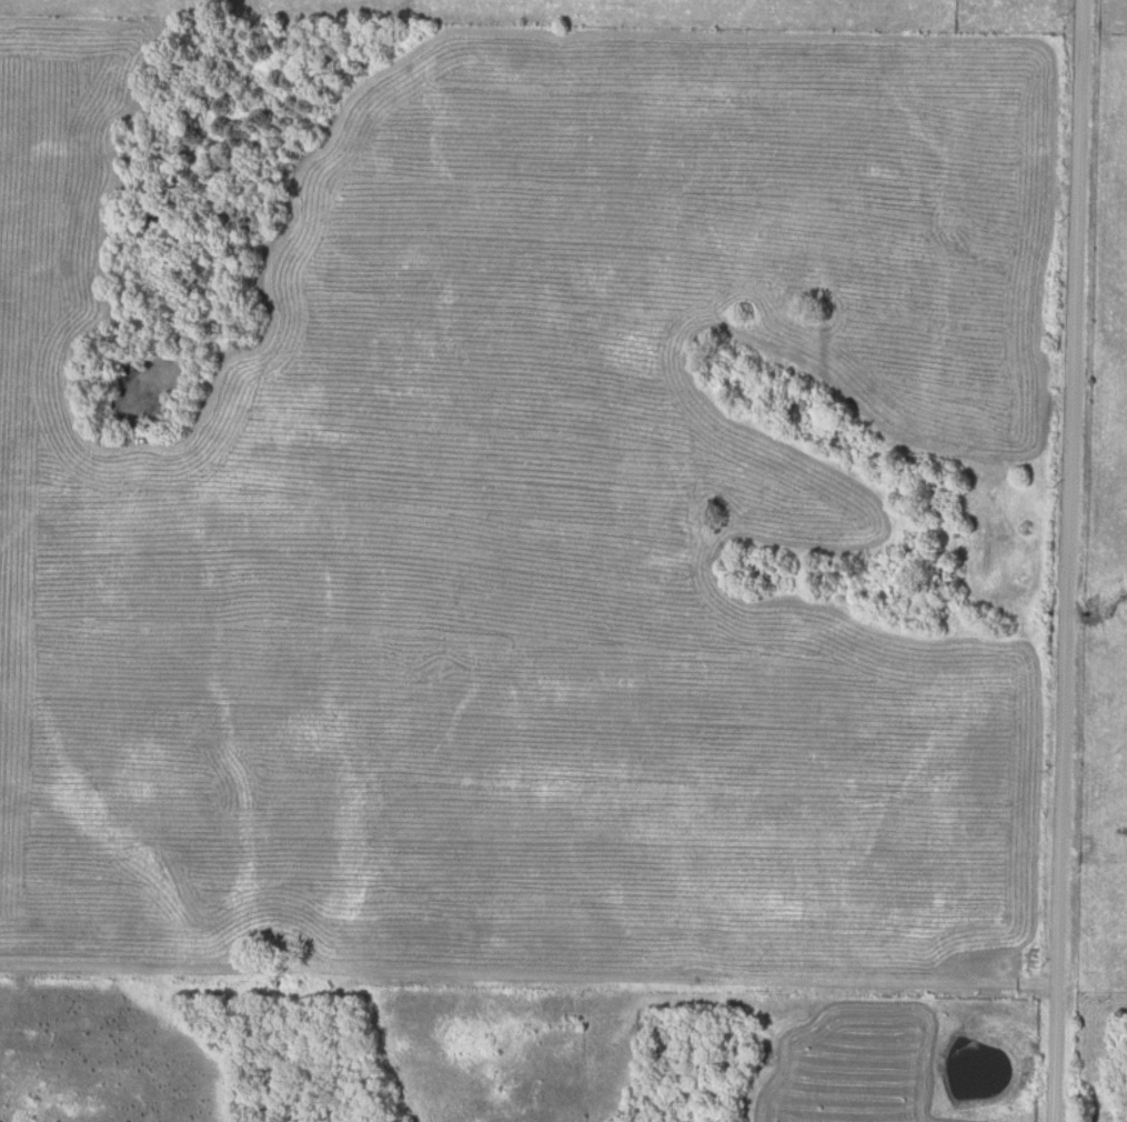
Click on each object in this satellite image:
road: (1066, 561)
road: (523, 965)

